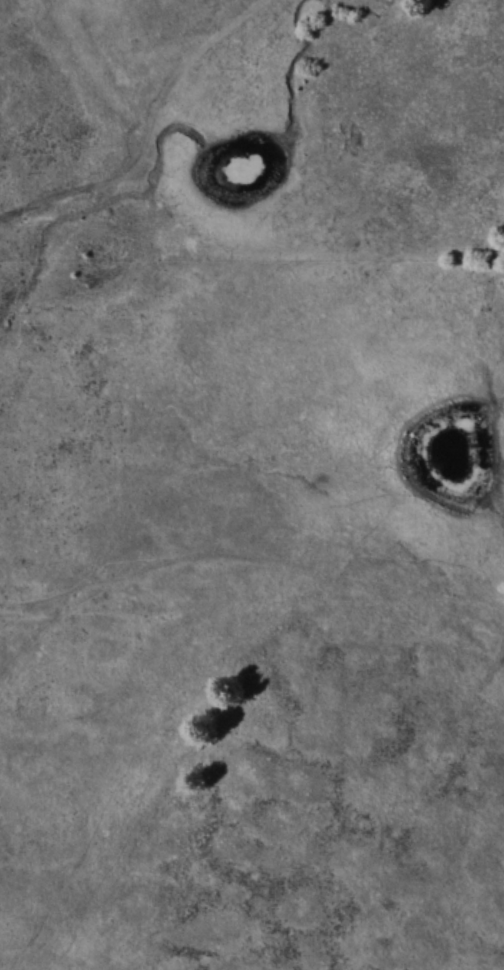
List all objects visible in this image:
road: (252, 528)

